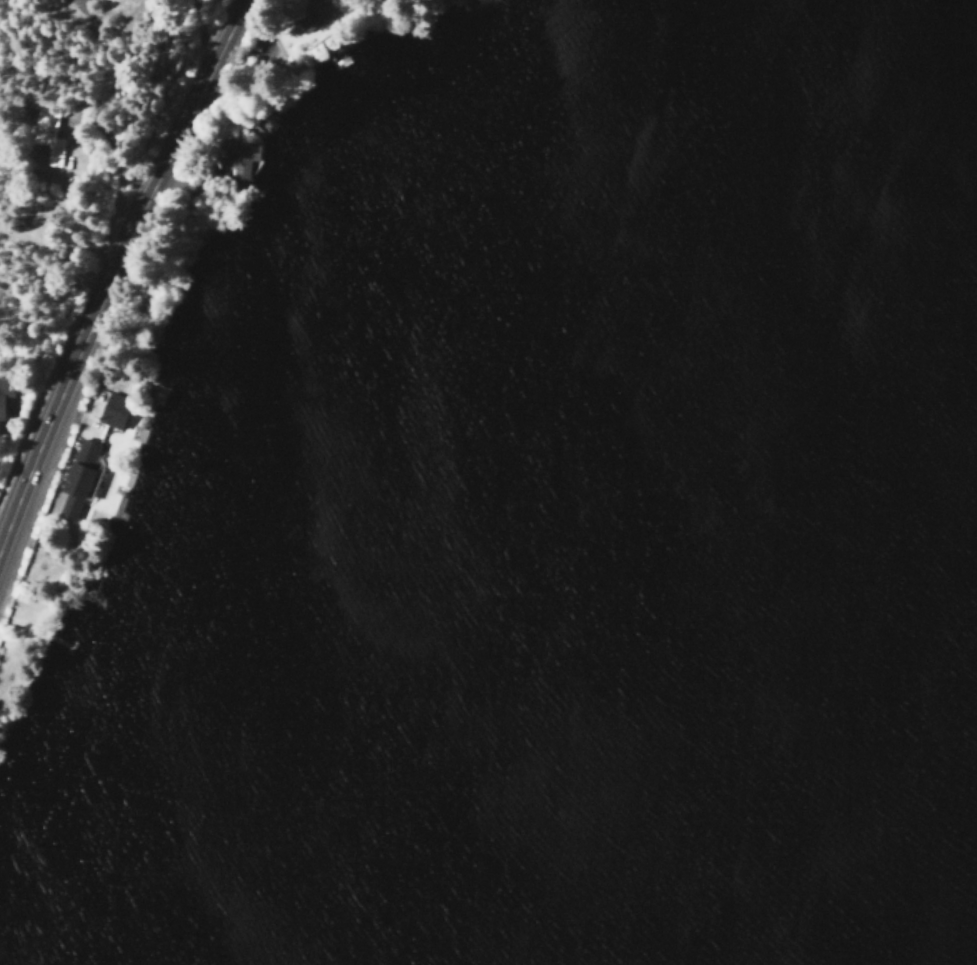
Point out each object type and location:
building: (318, 13)
road: (197, 17)
building: (267, 52)
building: (46, 134)
building: (236, 156)
road: (113, 266)
building: (4, 387)
building: (112, 410)
building: (76, 478)

